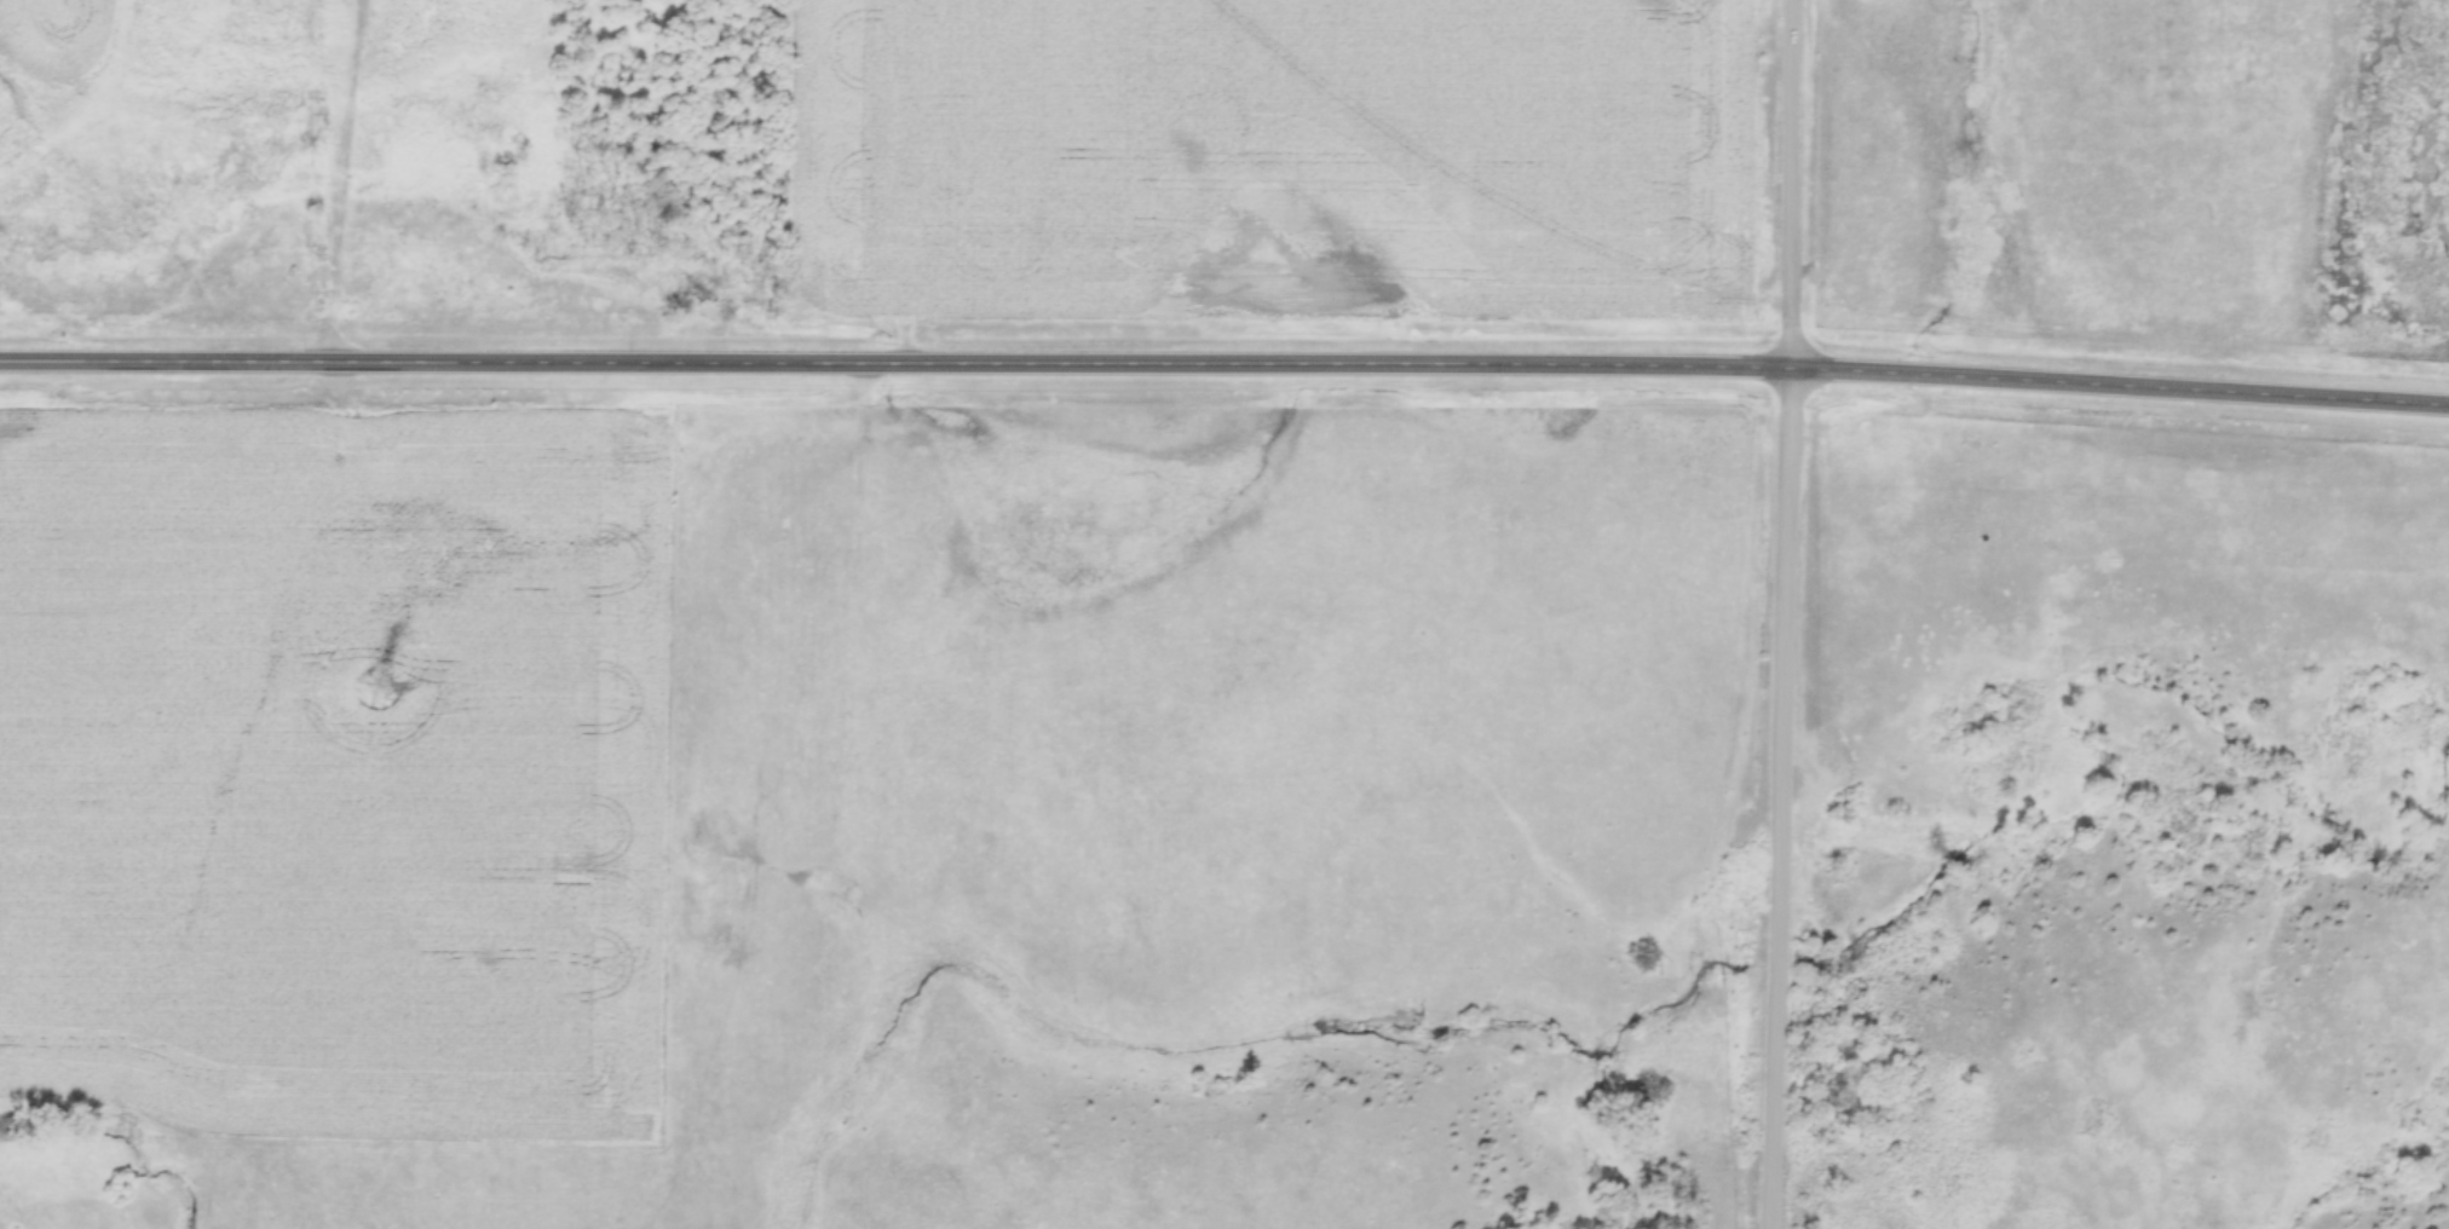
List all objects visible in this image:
road: (1224, 367)
road: (1781, 614)
power tower: (373, 687)

